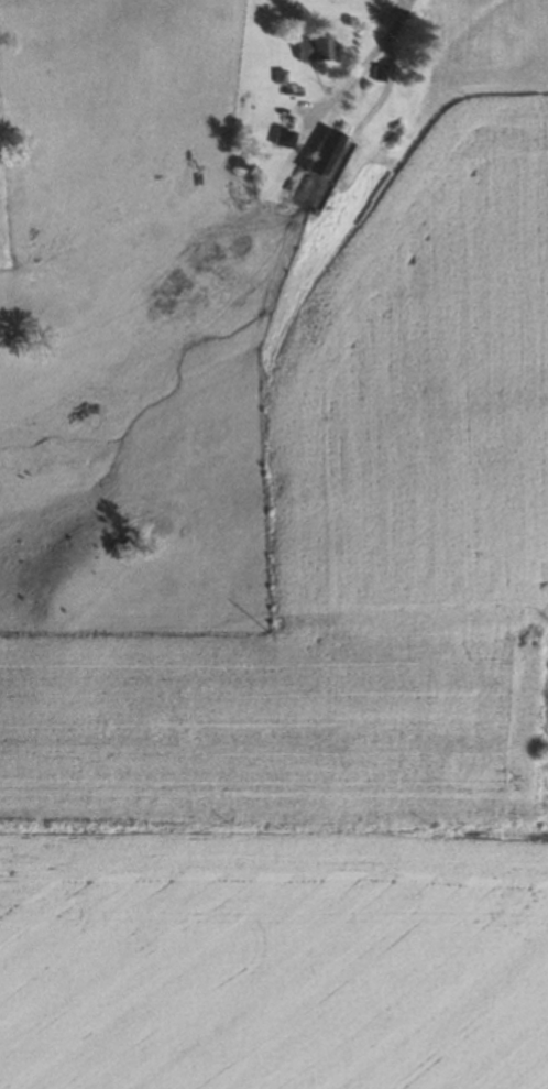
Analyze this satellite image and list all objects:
building: (309, 48)
road: (357, 68)
building: (276, 77)
building: (288, 90)
building: (276, 140)
building: (315, 155)
building: (239, 165)

